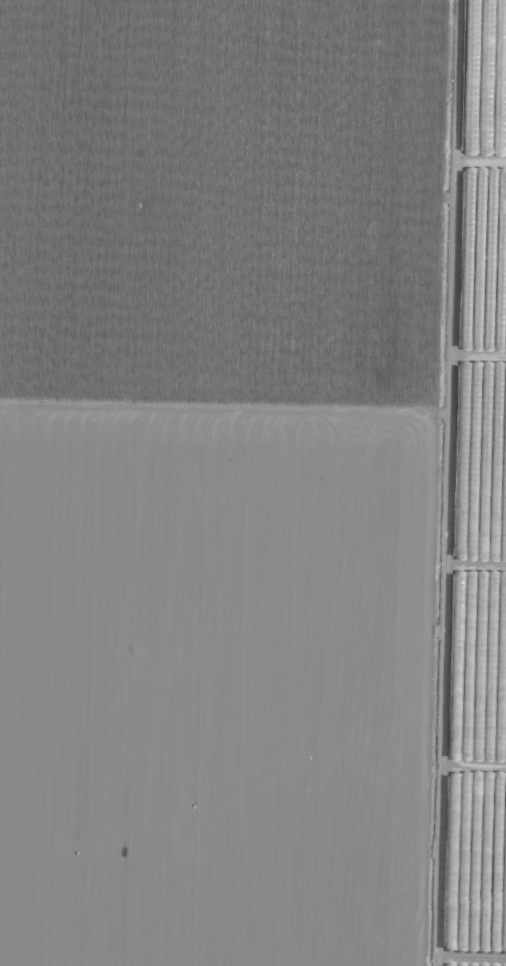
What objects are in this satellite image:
crop: (253, 483)
crop: (471, 542)
crop: (469, 748)
crop: (466, 909)

